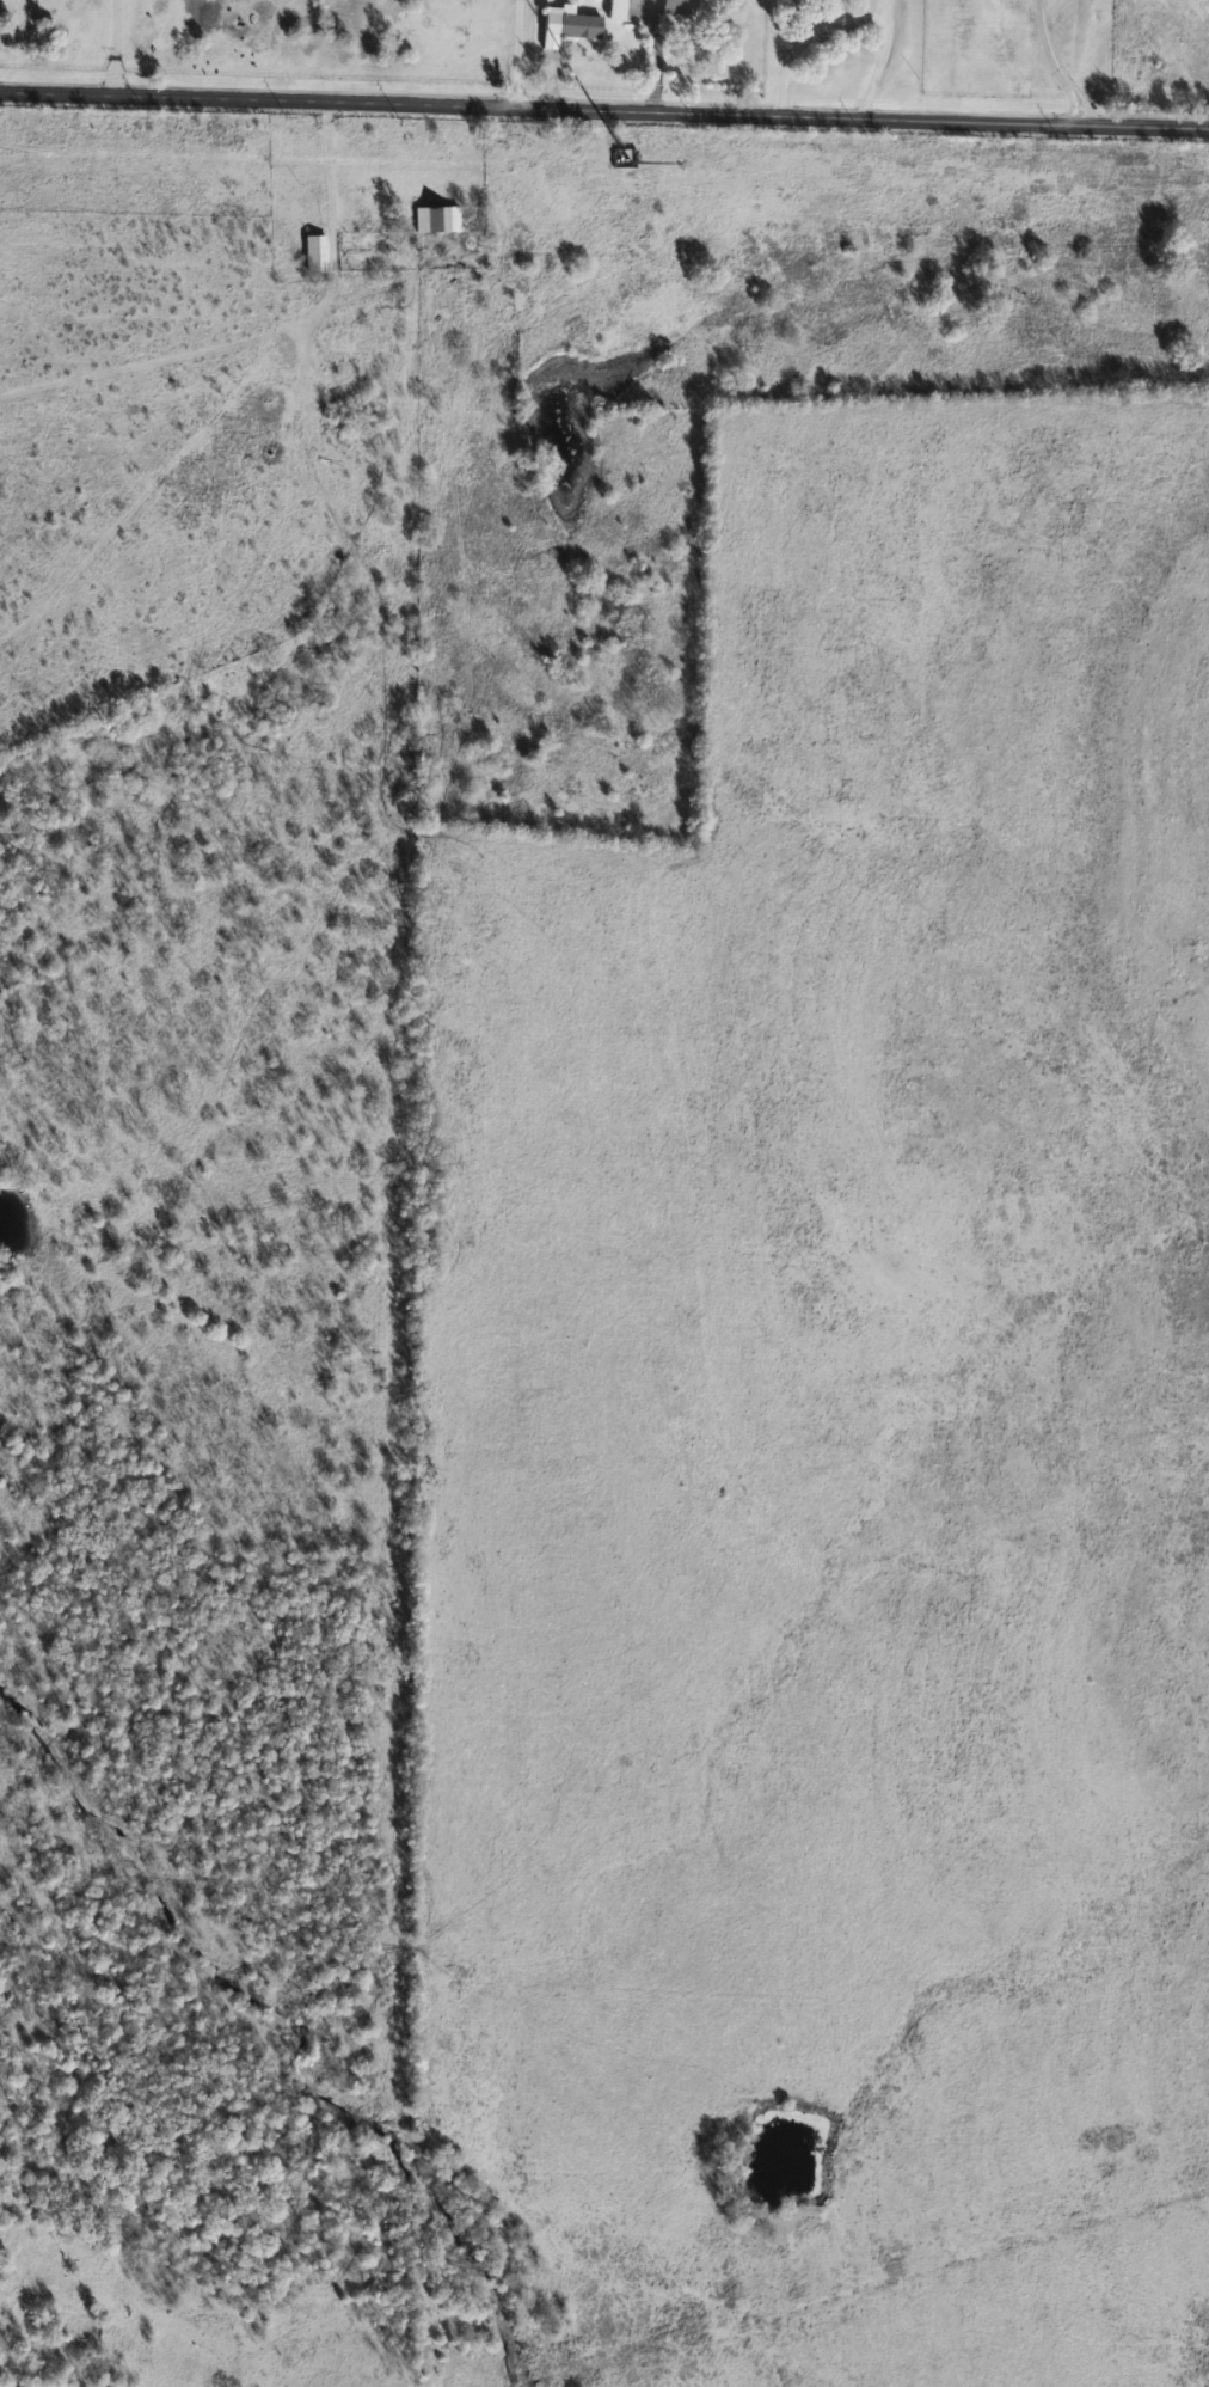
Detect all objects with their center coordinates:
building: (682, 6)
building: (620, 8)
road: (851, 20)
building: (575, 24)
road: (112, 49)
road: (521, 55)
road: (1054, 65)
road: (604, 111)
building: (438, 219)
building: (317, 253)
road: (270, 341)
building: (352, 373)

